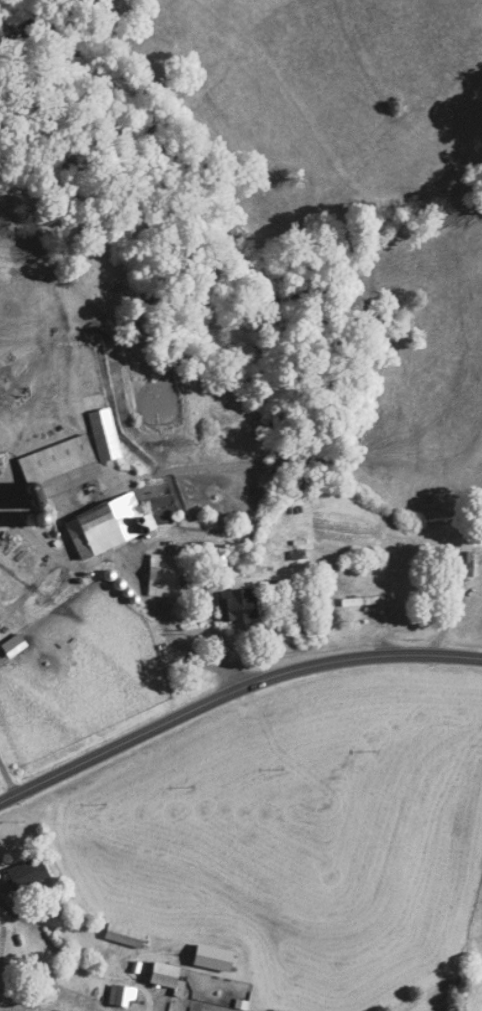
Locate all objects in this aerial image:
building: (104, 436)
building: (59, 468)
building: (107, 527)
building: (462, 566)
road: (131, 572)
building: (161, 576)
building: (362, 602)
building: (241, 607)
building: (13, 646)
road: (231, 692)
building: (26, 874)
road: (39, 919)
building: (124, 935)
building: (164, 975)
building: (120, 995)

